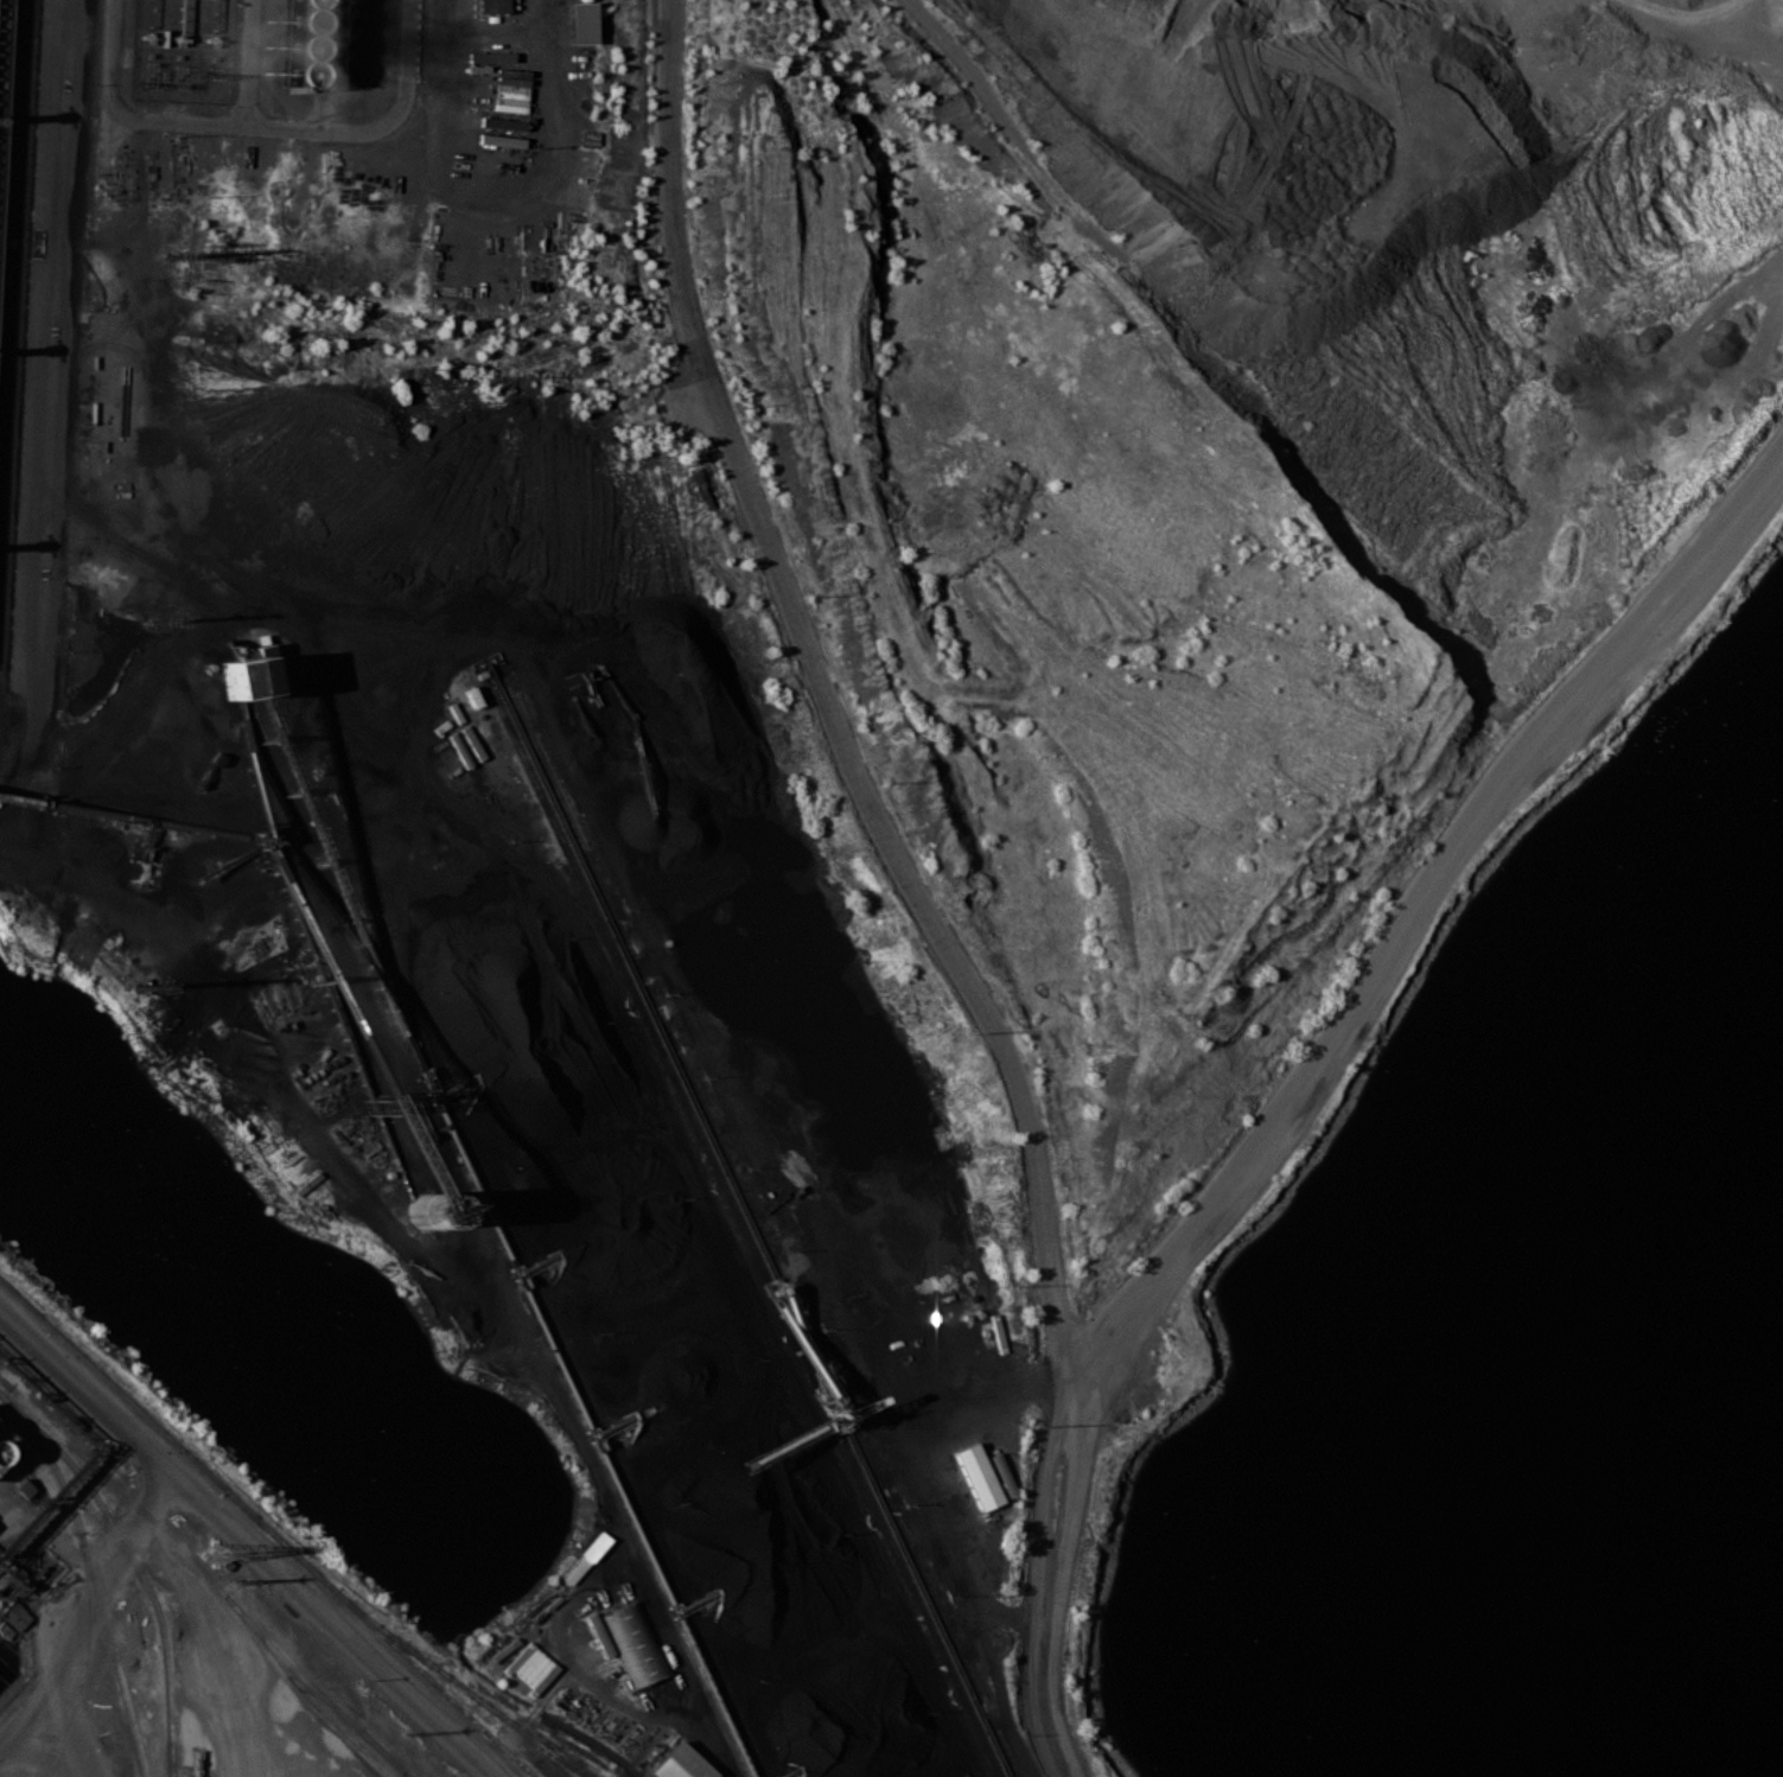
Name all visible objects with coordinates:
building: (491, 6)
building: (579, 23)
building: (303, 40)
road: (320, 127)
road: (999, 142)
road: (46, 387)
building: (240, 676)
road: (325, 694)
road: (116, 943)
road: (1038, 1230)
railway: (136, 1407)
road: (559, 1410)
building: (6, 1445)
railway: (79, 1453)
building: (974, 1476)
railway: (87, 1485)
building: (23, 1488)
railway: (68, 1498)
road: (174, 1515)
railway: (190, 1556)
road: (112, 1590)
road: (1059, 1609)
building: (14, 1614)
road: (664, 1623)
railway: (161, 1624)
road: (330, 1625)
railway: (109, 1638)
building: (633, 1643)
railway: (426, 1660)
railway: (434, 1683)
railway: (310, 1684)
railway: (299, 1693)
railway: (77, 1701)
road: (49, 1706)
railway: (167, 1717)
railway: (528, 1721)
railway: (139, 1762)
building: (679, 1763)

